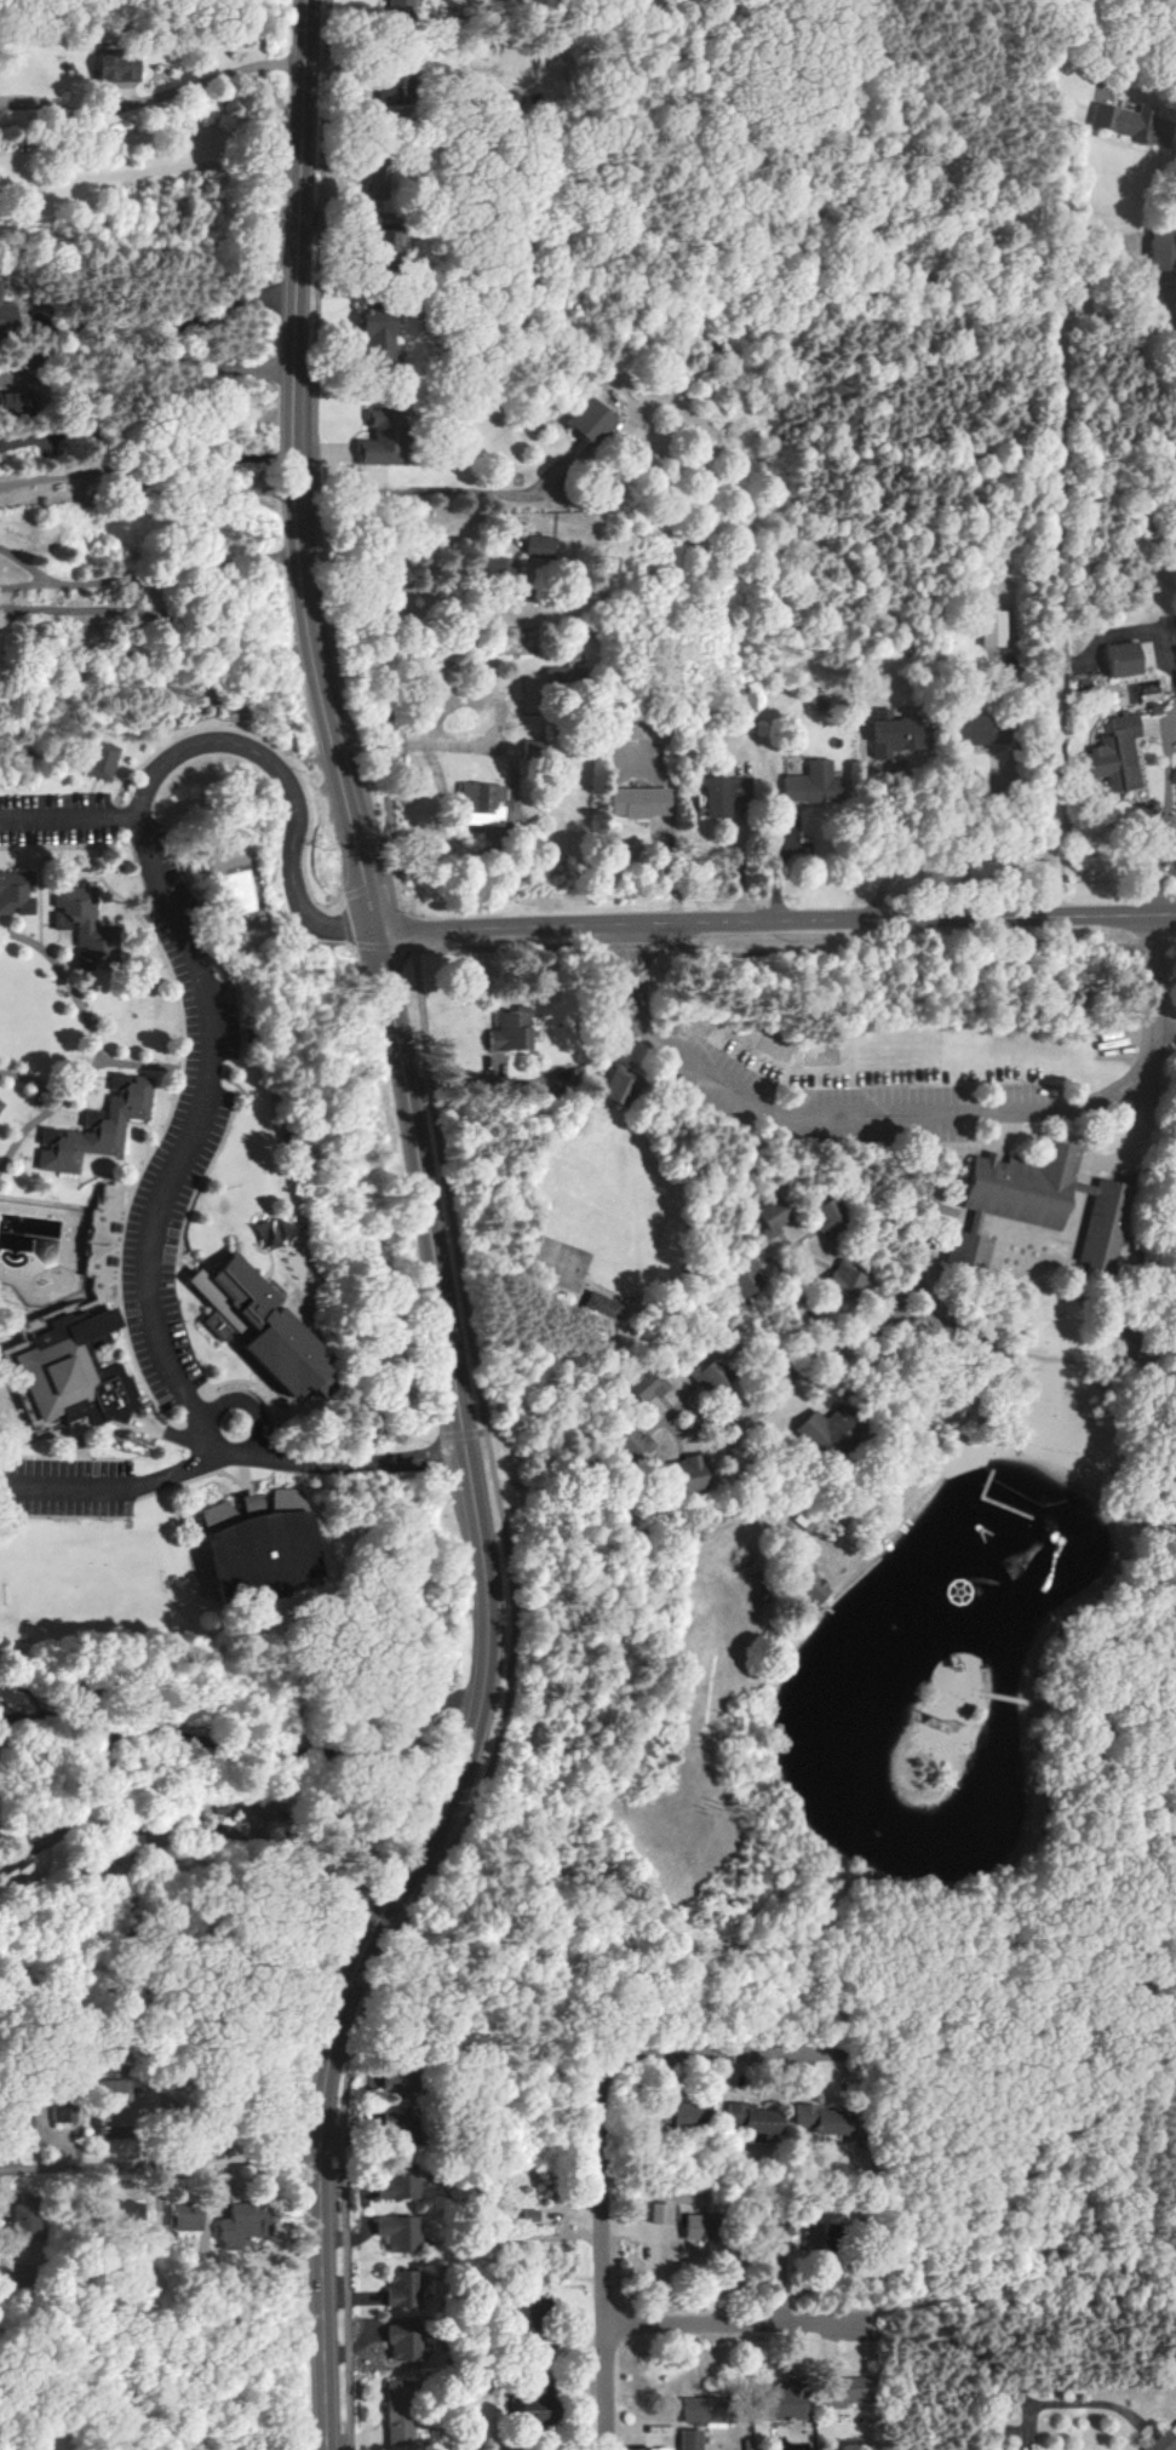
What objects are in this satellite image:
building: (400, 10)
building: (119, 67)
road: (166, 94)
building: (1119, 120)
road: (154, 168)
building: (1161, 251)
building: (7, 317)
road: (194, 321)
building: (379, 335)
road: (171, 362)
building: (7, 402)
building: (591, 420)
building: (383, 437)
road: (312, 465)
road: (150, 480)
road: (432, 487)
road: (1060, 510)
building: (540, 546)
building: (494, 566)
road: (161, 574)
building: (989, 630)
building: (1125, 659)
building: (562, 675)
building: (971, 729)
building: (533, 751)
building: (1117, 754)
building: (97, 761)
road: (388, 762)
road: (115, 779)
building: (814, 784)
road: (92, 785)
building: (717, 797)
building: (639, 802)
building: (483, 804)
road: (991, 805)
road: (1165, 817)
road: (68, 819)
parking lot: (52, 820)
road: (55, 847)
road: (908, 848)
building: (17, 893)
road: (367, 896)
road: (38, 897)
road: (18, 907)
road: (21, 916)
building: (84, 923)
road: (779, 923)
road: (48, 925)
road: (145, 926)
parking lot: (182, 933)
road: (408, 935)
road: (56, 939)
road: (1174, 945)
road: (1158, 946)
road: (183, 947)
road: (635, 947)
road: (505, 949)
road: (908, 954)
road: (82, 963)
road: (81, 966)
park: (29, 1022)
building: (511, 1031)
road: (94, 1049)
road: (137, 1065)
parking lot: (203, 1073)
road: (108, 1078)
road: (117, 1081)
road: (34, 1083)
building: (620, 1084)
parking lot: (843, 1103)
building: (0, 1104)
road: (57, 1111)
road: (917, 1115)
road: (87, 1120)
building: (97, 1125)
road: (47, 1140)
road: (200, 1188)
road: (93, 1198)
road: (46, 1204)
road: (116, 1204)
building: (1036, 1205)
road: (226, 1210)
building: (773, 1218)
building: (830, 1218)
parking lot: (157, 1221)
road: (430, 1238)
building: (105, 1239)
building: (268, 1250)
building: (845, 1278)
road: (109, 1306)
road: (62, 1307)
building: (602, 1308)
road: (24, 1309)
road: (207, 1314)
road: (122, 1315)
parking lot: (164, 1348)
building: (292, 1352)
road: (1, 1364)
building: (79, 1371)
building: (710, 1377)
road: (225, 1385)
building: (647, 1387)
road: (252, 1408)
road: (22, 1413)
road: (81, 1423)
building: (827, 1428)
building: (632, 1442)
road: (67, 1459)
road: (363, 1464)
building: (690, 1474)
road: (248, 1479)
road: (199, 1480)
parking lot: (67, 1491)
building: (265, 1547)
building: (815, 1591)
road: (507, 1714)
road: (251, 1745)
road: (200, 1832)
road: (165, 2031)
road: (725, 2054)
building: (65, 2102)
building: (119, 2110)
building: (687, 2116)
building: (752, 2118)
building: (392, 2119)
building: (819, 2119)
building: (21, 2122)
building: (230, 2133)
road: (160, 2163)
building: (385, 2187)
building: (659, 2213)
building: (187, 2214)
building: (120, 2219)
building: (31, 2220)
building: (243, 2224)
building: (699, 2227)
building: (397, 2232)
building: (814, 2238)
road: (606, 2257)
building: (24, 2274)
building: (403, 2289)
road: (733, 2325)
building: (405, 2340)
road: (976, 2358)
building: (849, 2392)
building: (785, 2402)
building: (537, 2406)
building: (706, 2409)
building: (398, 2416)
building: (692, 2439)
building: (1166, 2440)

